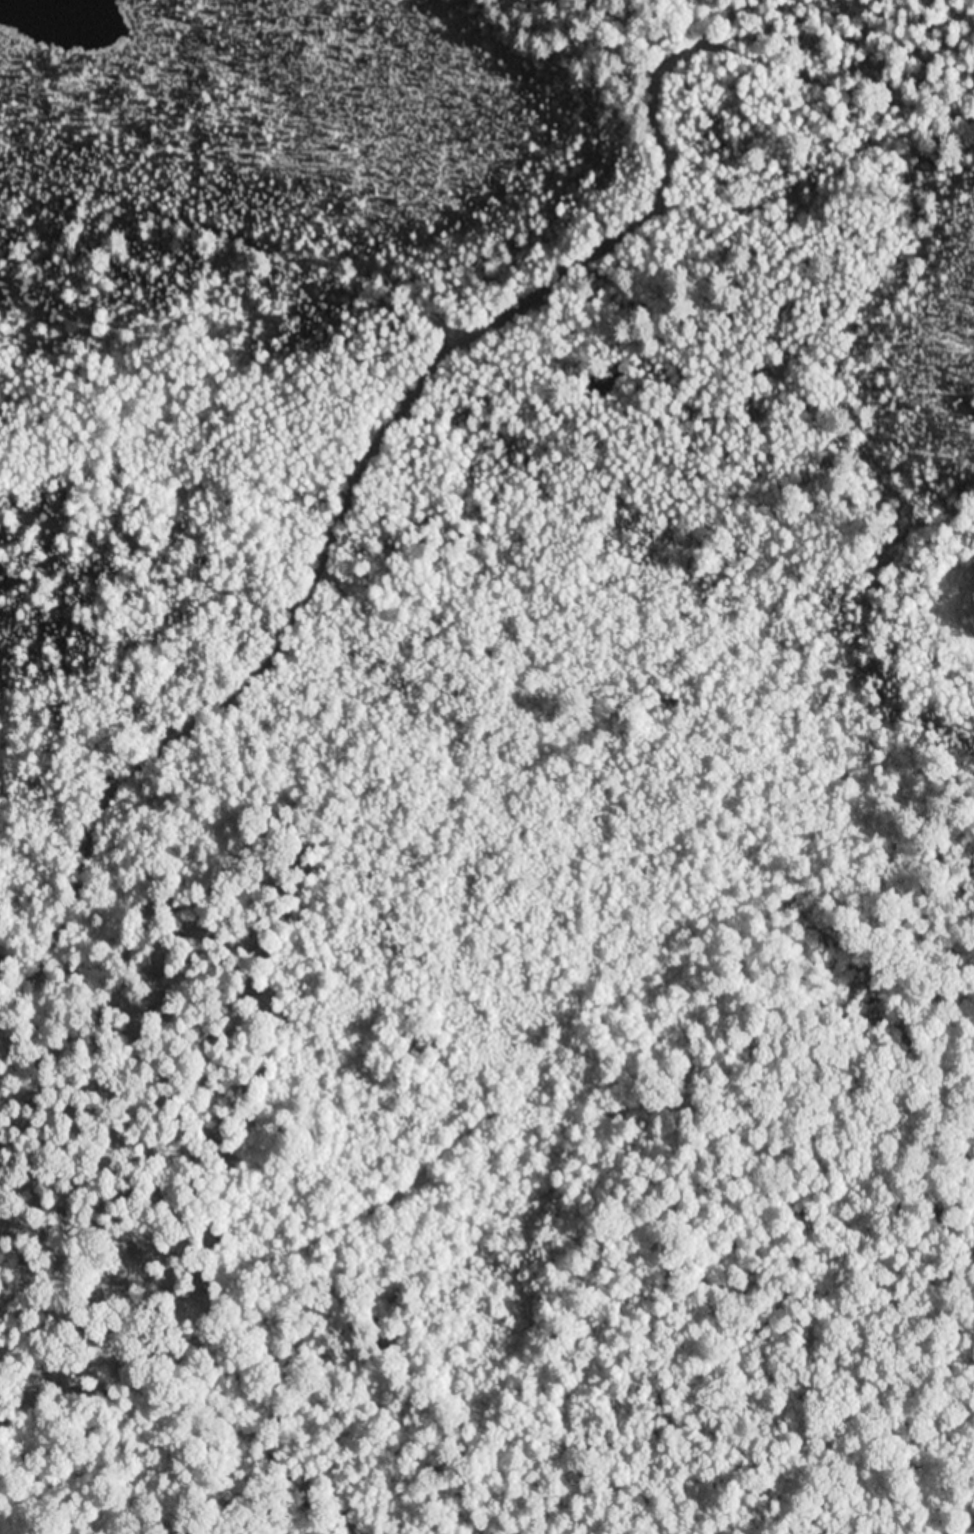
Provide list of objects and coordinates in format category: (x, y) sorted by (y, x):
road: (414, 393)

